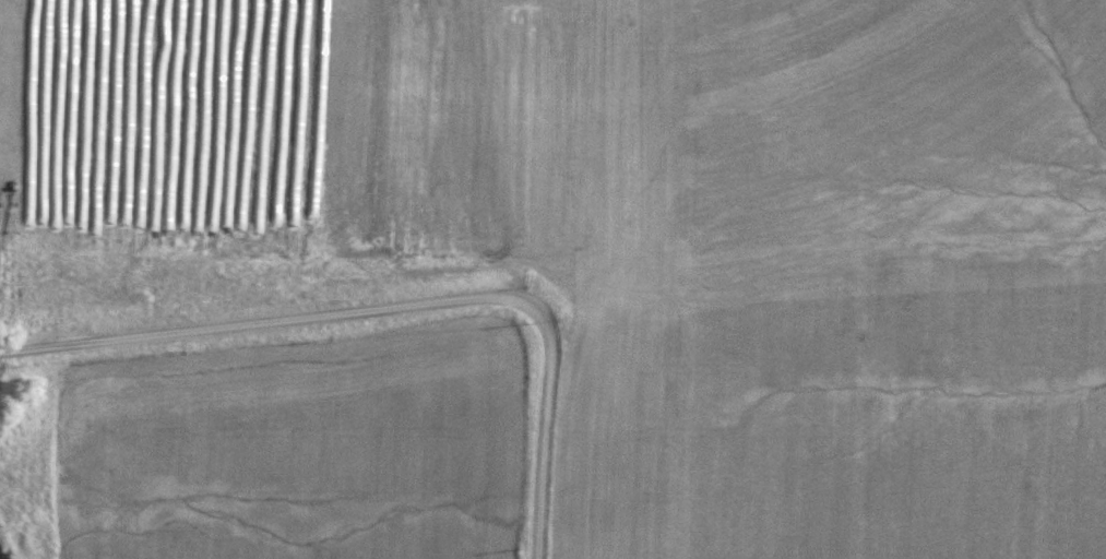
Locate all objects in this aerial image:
building: (193, 182)
building: (213, 200)
building: (178, 215)
building: (58, 233)
building: (75, 233)
building: (93, 234)
building: (40, 238)
building: (147, 241)
building: (166, 242)
building: (130, 245)
road: (395, 310)

